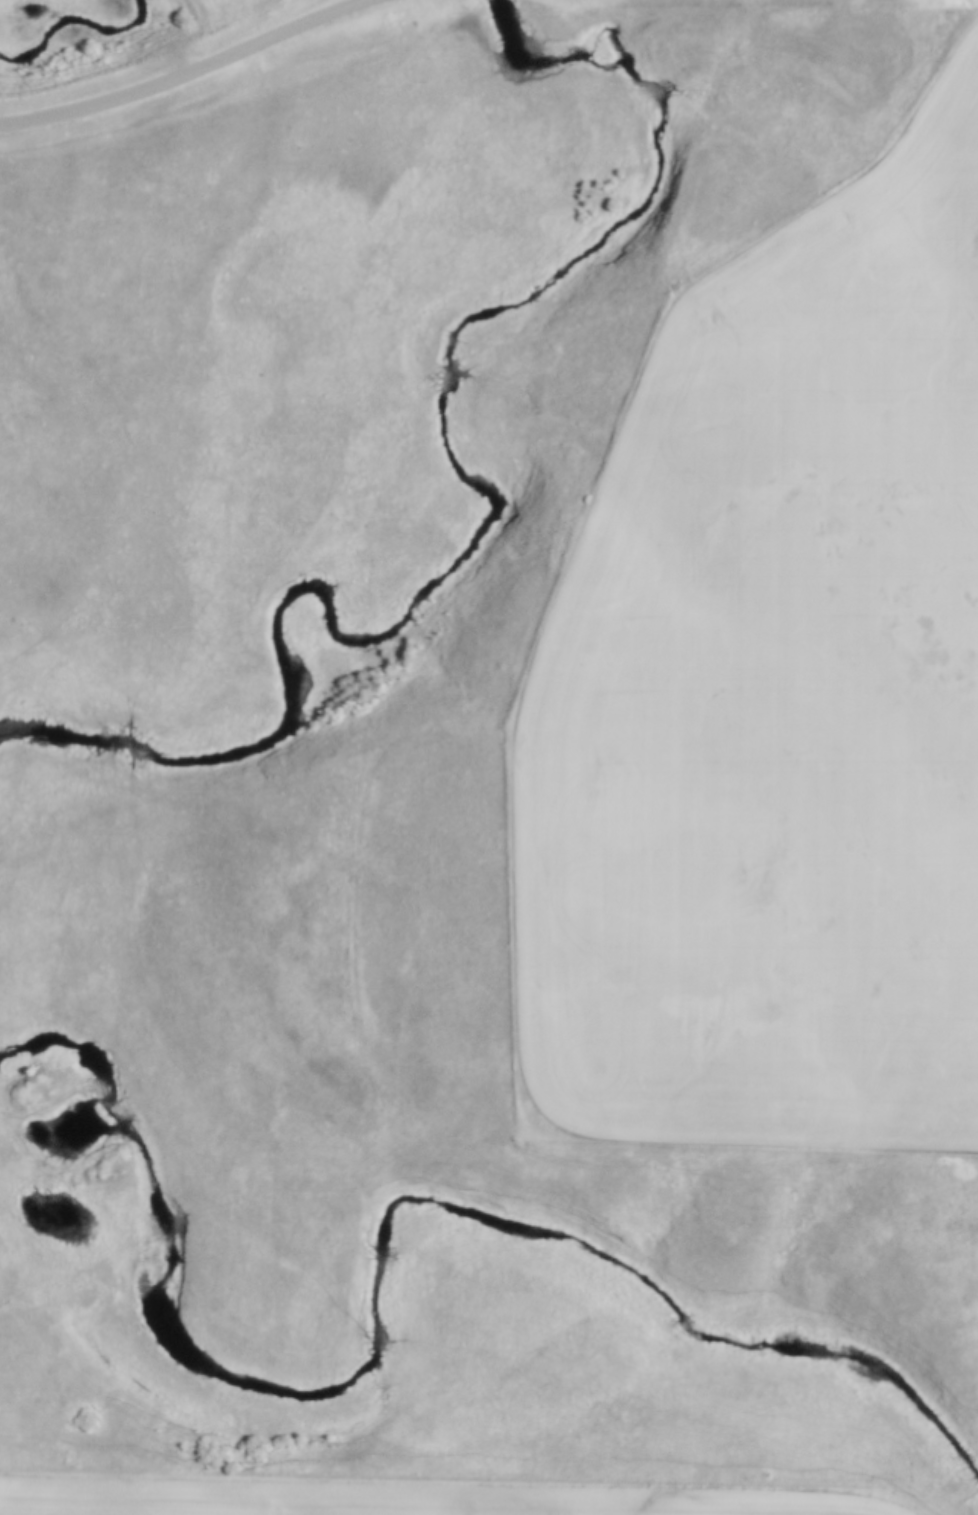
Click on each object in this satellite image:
road: (186, 73)
quarry: (793, 134)

